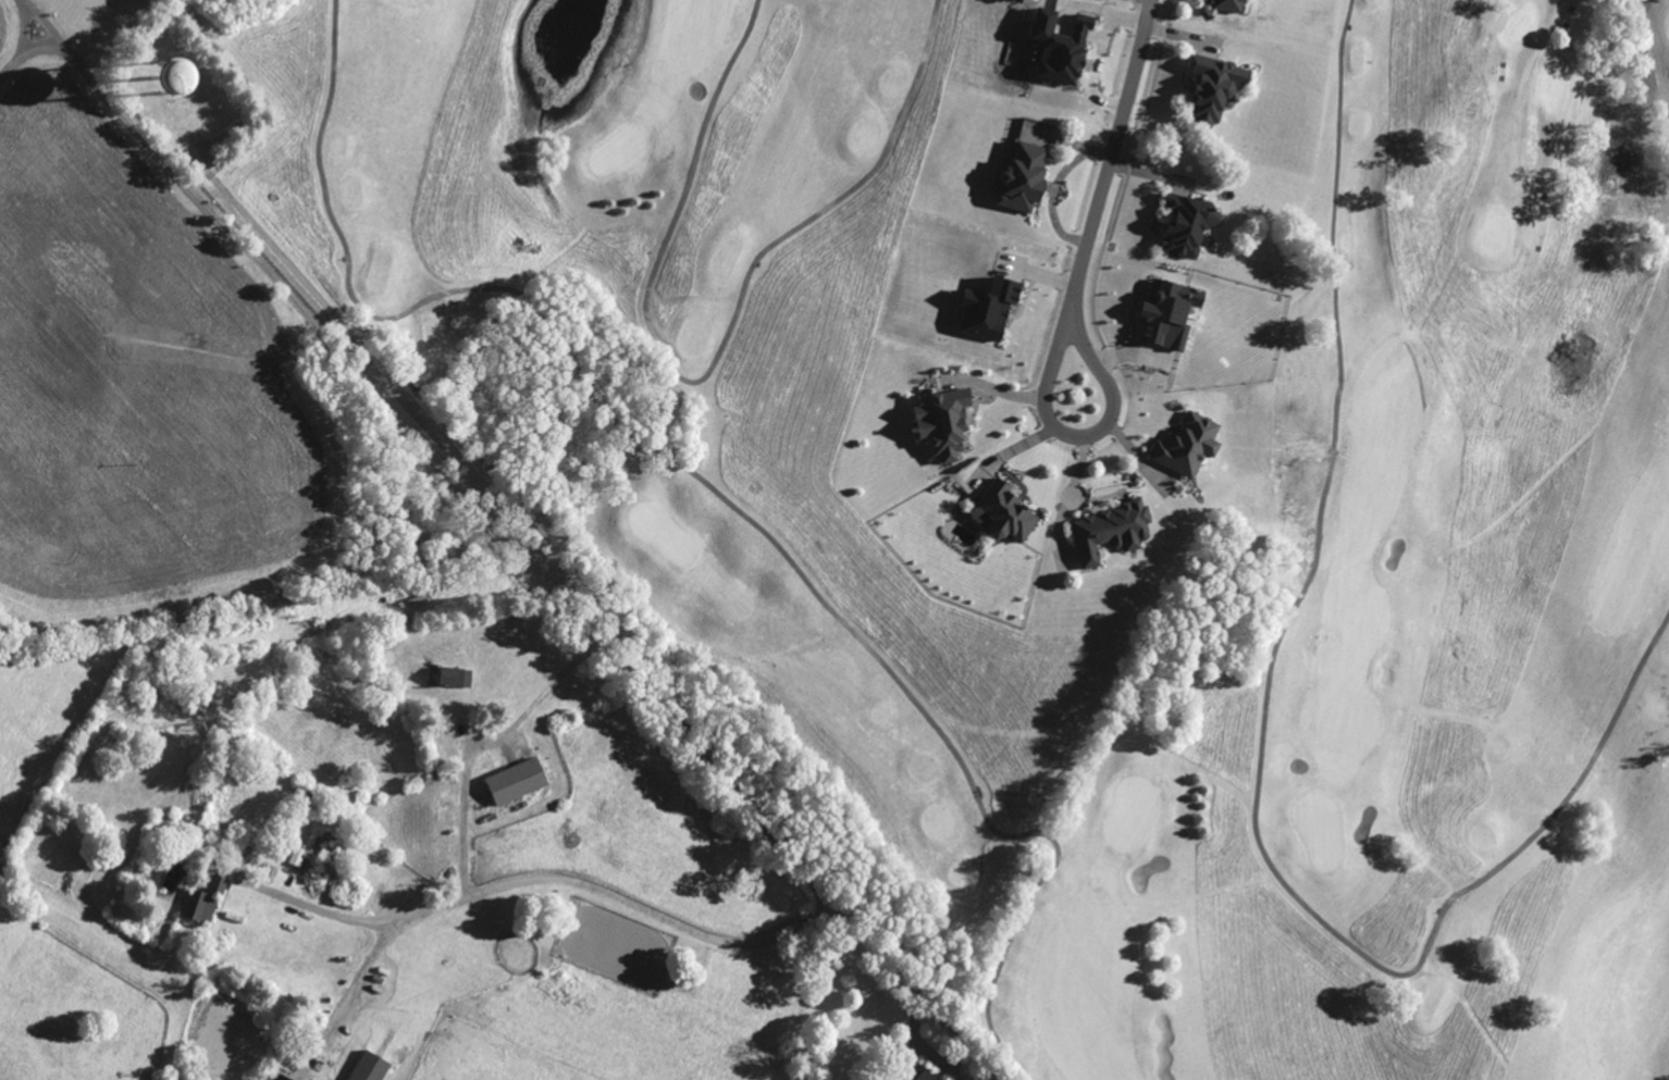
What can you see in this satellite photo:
building: (1235, 5)
building: (1066, 49)
water tower: (171, 77)
building: (1224, 88)
road: (1113, 147)
building: (1031, 179)
building: (1195, 226)
building: (997, 311)
building: (1176, 311)
building: (951, 422)
road: (1083, 435)
building: (1197, 445)
road: (426, 454)
building: (1011, 512)
building: (1118, 531)
park: (1452, 544)
building: (460, 678)
building: (523, 781)
road: (466, 811)
building: (207, 902)
road: (397, 920)
road: (737, 942)
building: (376, 1068)
building: (931, 1076)
building: (289, 1077)

